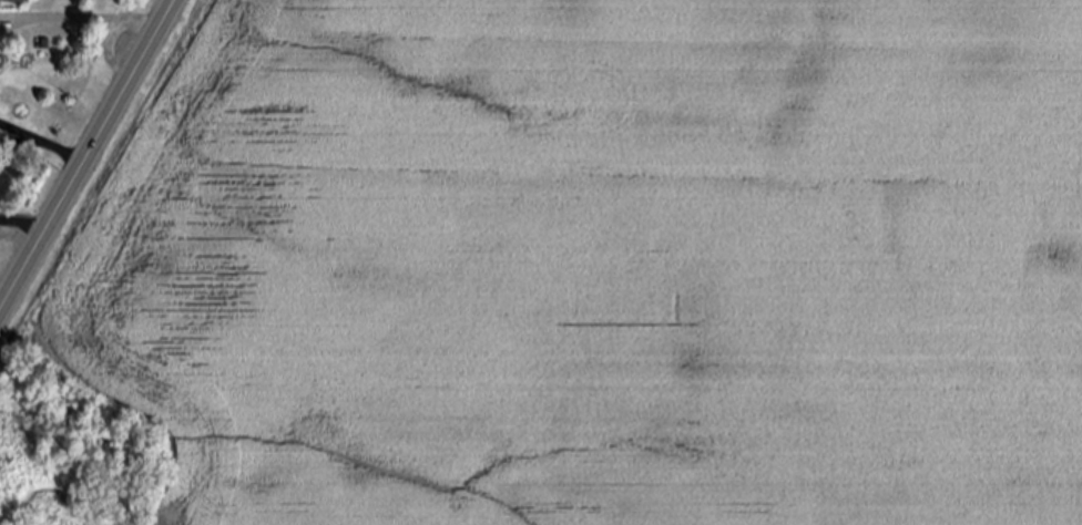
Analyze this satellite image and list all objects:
building: (17, 2)
road: (95, 20)
building: (47, 45)
road: (18, 131)
road: (18, 141)
road: (60, 152)
road: (88, 155)
road: (23, 226)
crop: (569, 271)

